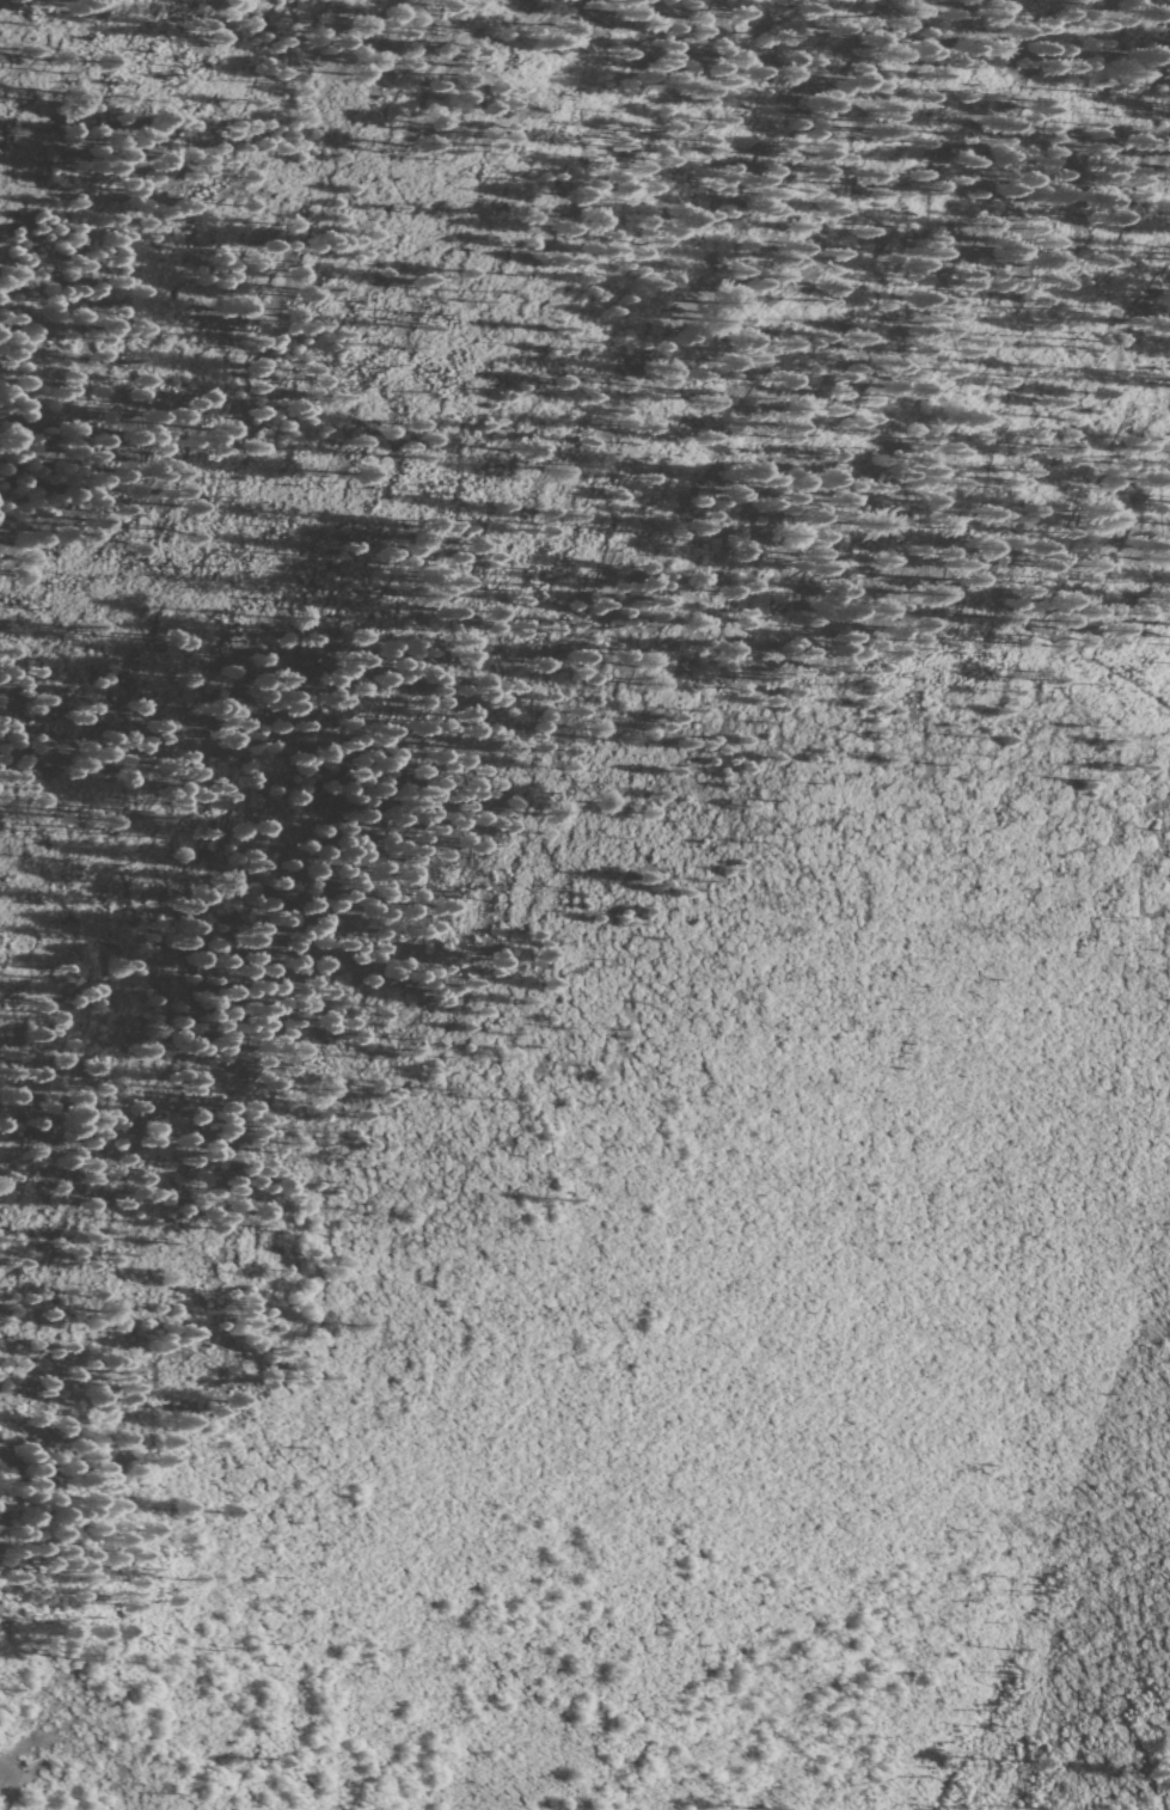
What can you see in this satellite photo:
road: (491, 713)

